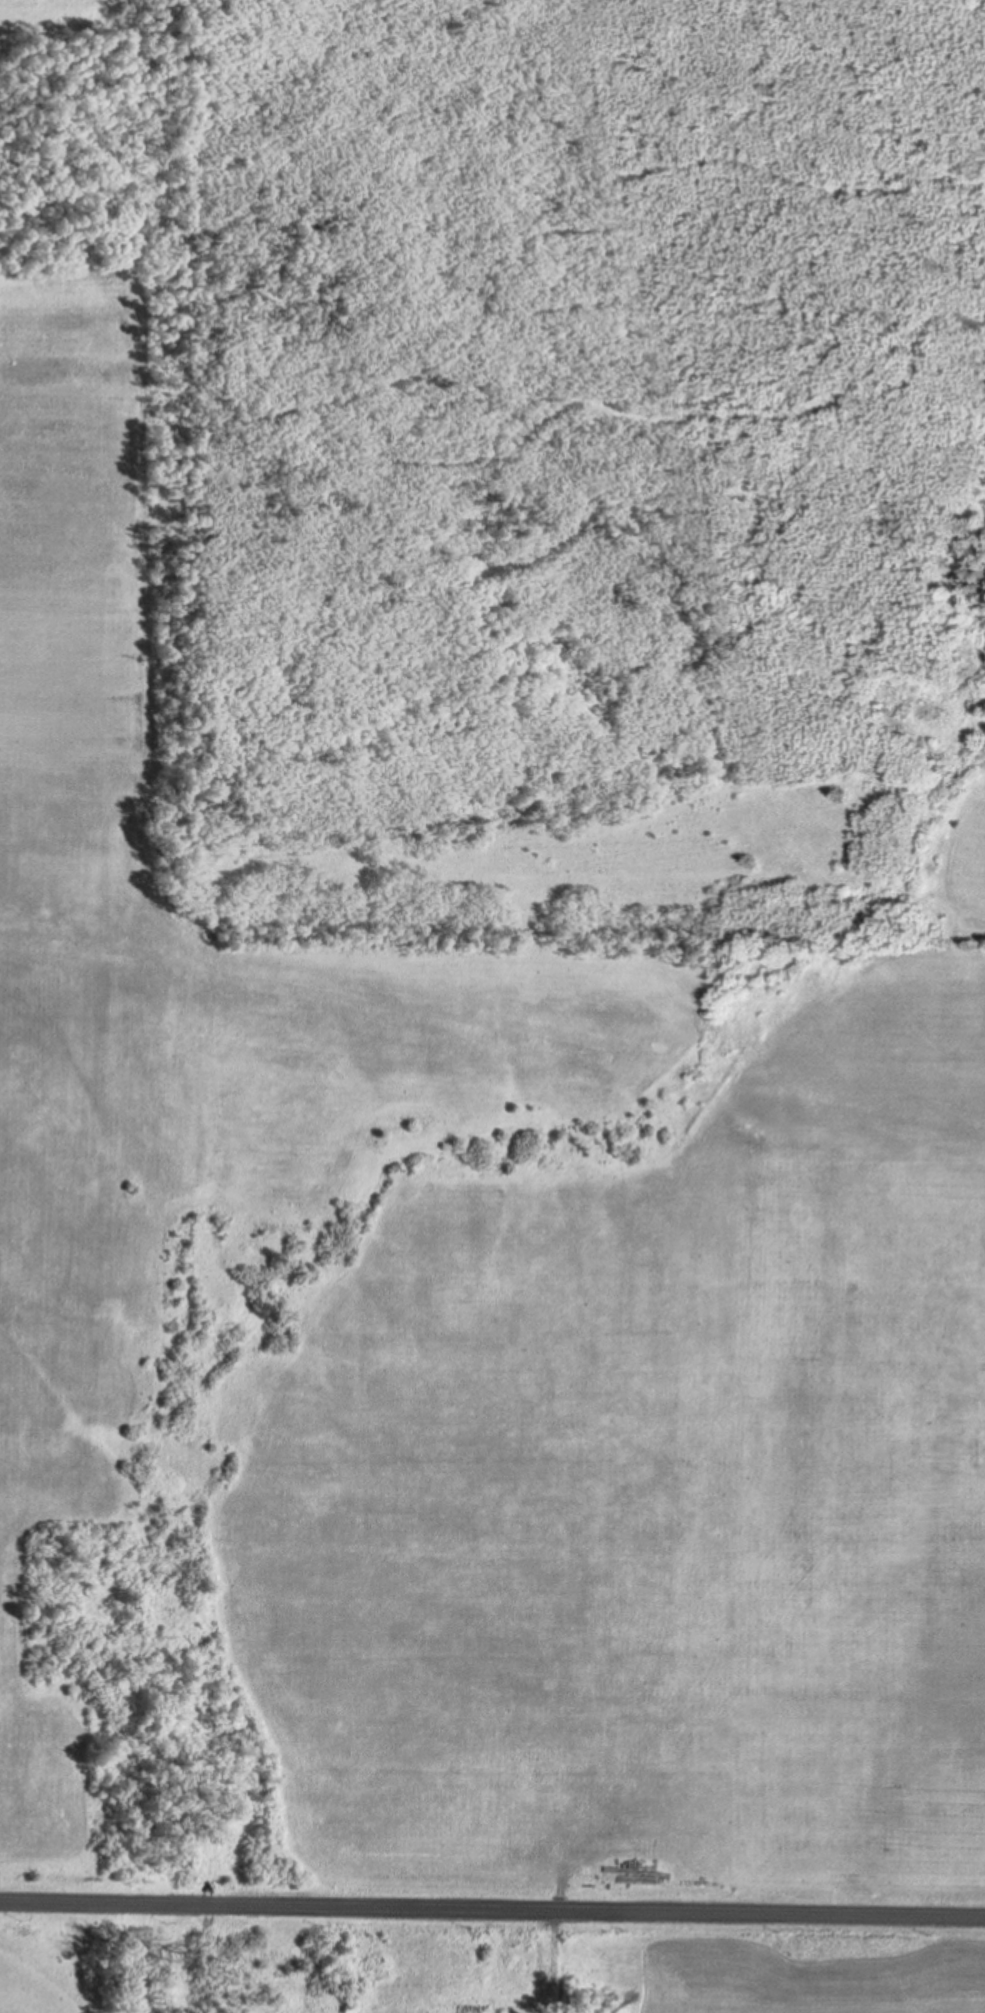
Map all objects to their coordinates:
road: (492, 1910)

